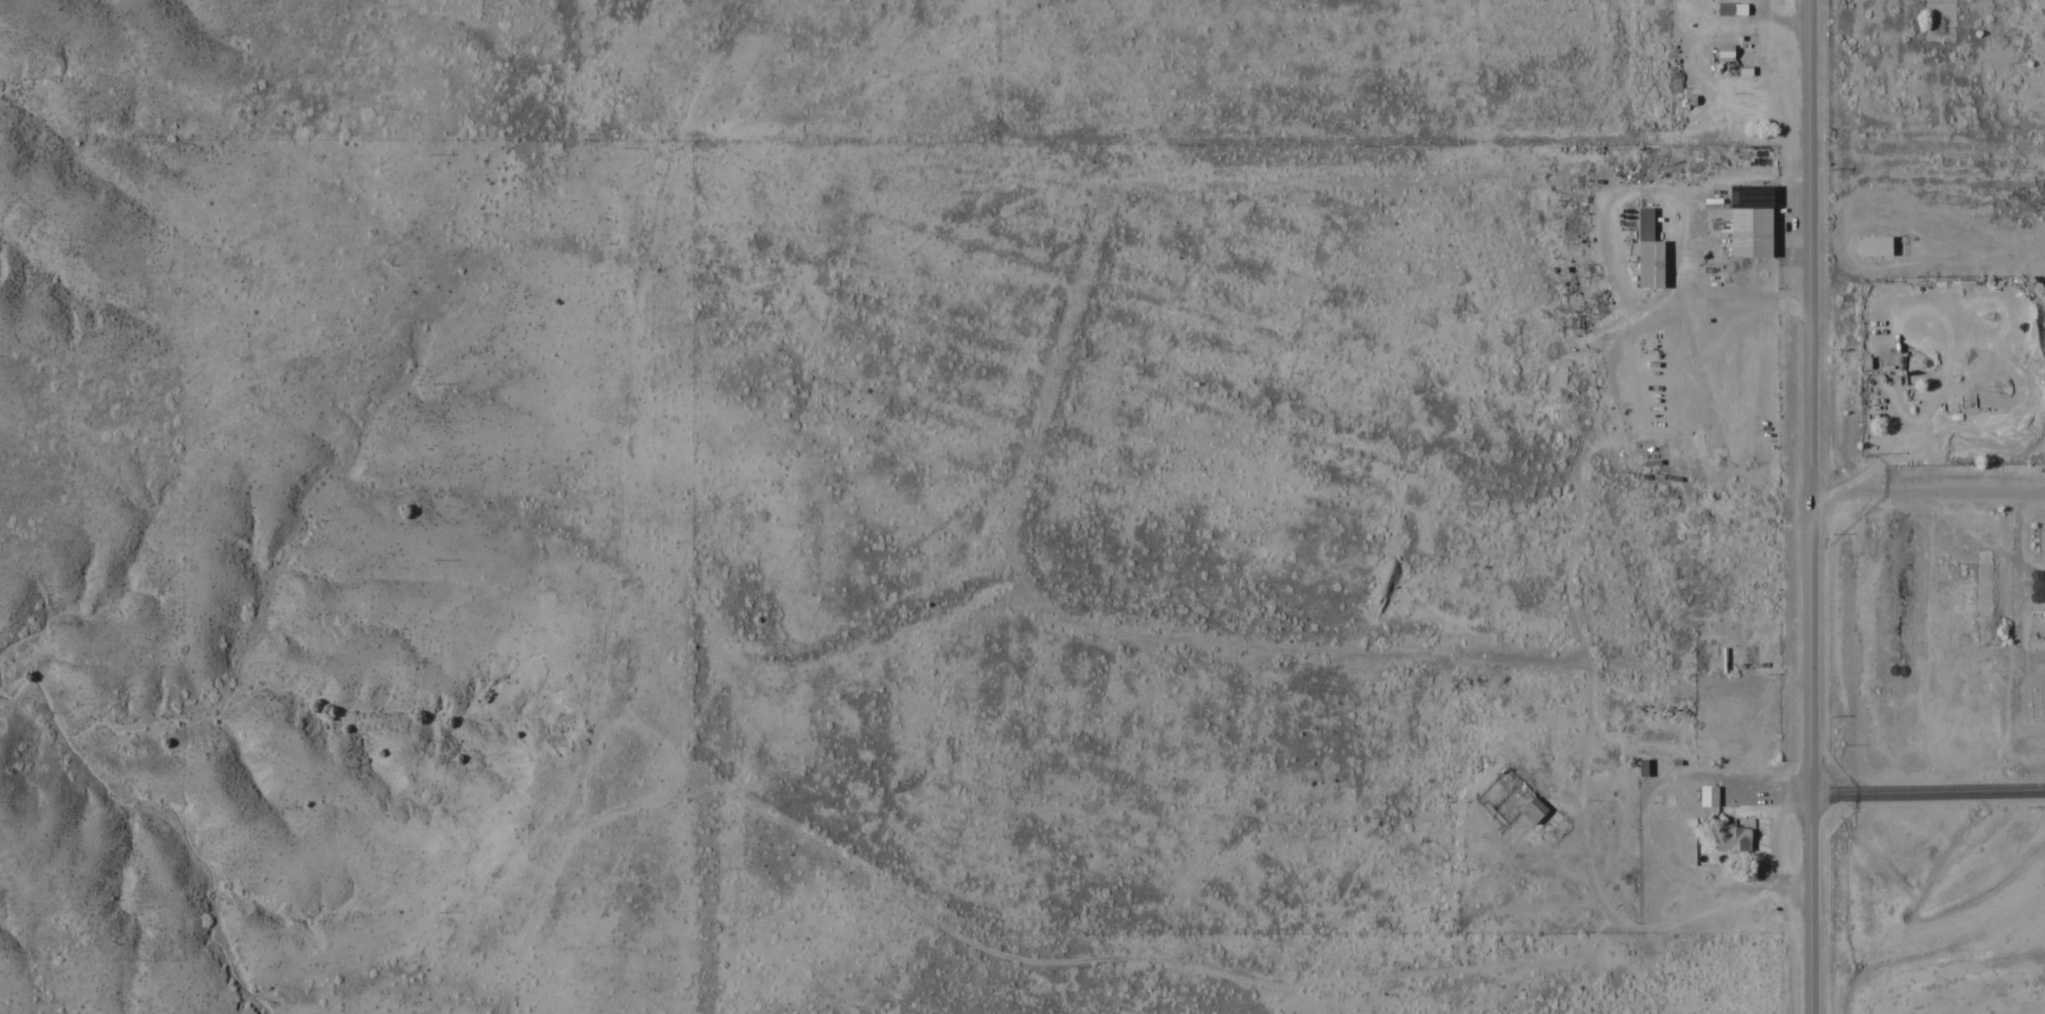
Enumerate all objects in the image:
building: (1724, 8)
building: (1723, 50)
road: (1926, 141)
building: (1744, 220)
building: (1873, 246)
building: (1646, 250)
road: (1927, 493)
road: (1809, 506)
building: (2038, 623)
building: (1641, 766)
road: (1927, 790)
building: (1707, 794)
building: (1532, 808)
building: (1732, 837)

